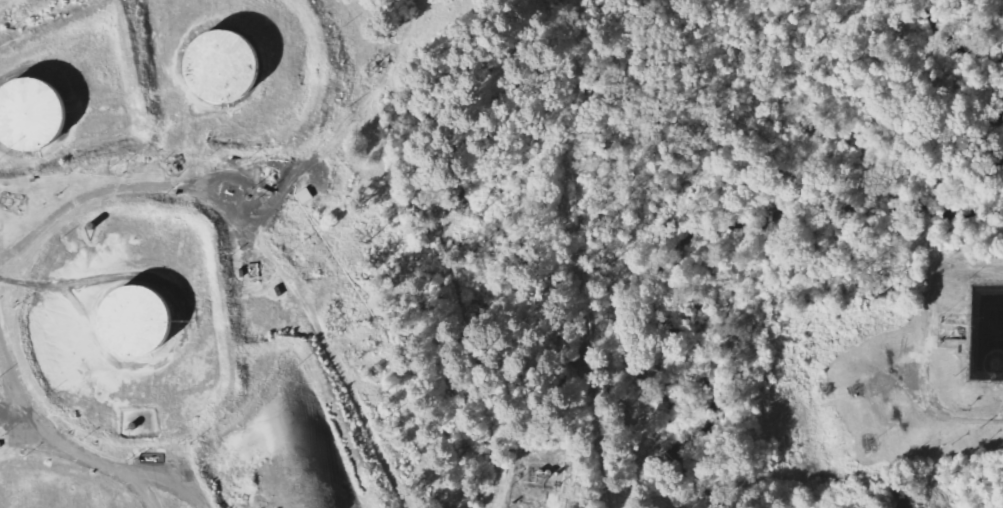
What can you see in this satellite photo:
road: (9, 5)
building: (224, 68)
road: (377, 80)
building: (31, 116)
road: (166, 186)
road: (929, 340)
road: (59, 444)
road: (500, 492)

